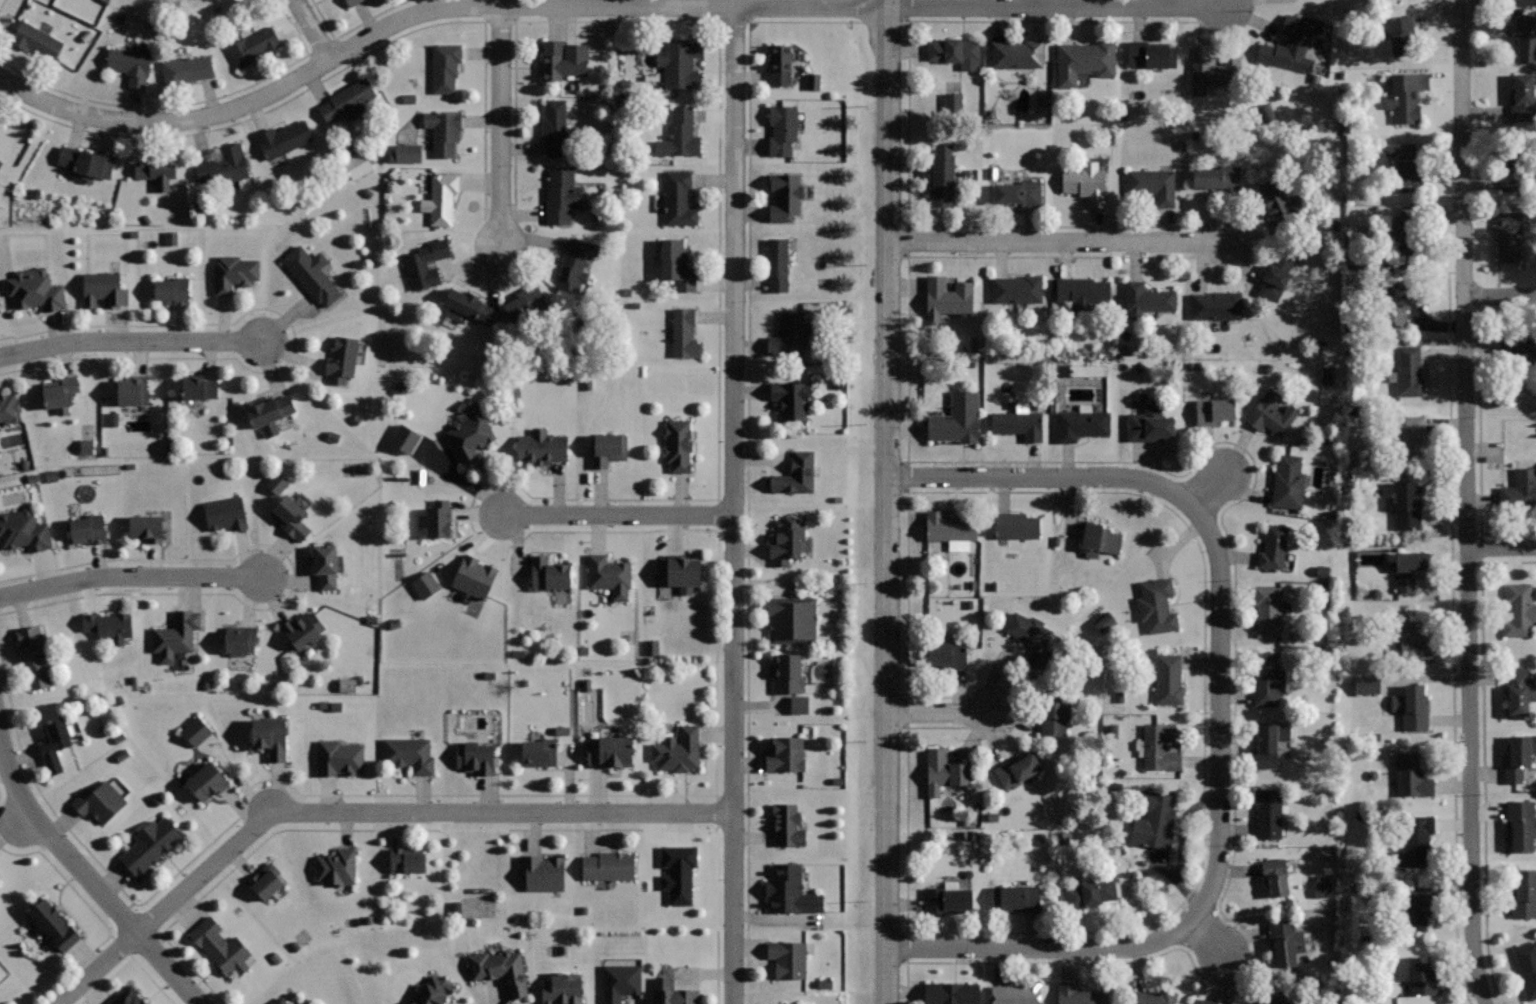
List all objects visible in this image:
building: (351, 2)
road: (1, 3)
road: (594, 6)
road: (313, 29)
road: (350, 29)
building: (1400, 34)
building: (1526, 37)
building: (37, 40)
building: (1292, 45)
building: (254, 46)
building: (957, 51)
building: (1017, 53)
building: (1151, 54)
building: (562, 58)
building: (680, 60)
building: (1084, 60)
building: (130, 64)
building: (780, 64)
building: (446, 66)
building: (187, 69)
building: (1216, 70)
road: (338, 71)
building: (1406, 95)
building: (1523, 97)
building: (348, 99)
road: (185, 104)
building: (950, 105)
road: (502, 122)
road: (907, 126)
building: (555, 127)
building: (782, 130)
building: (443, 131)
building: (680, 136)
building: (284, 139)
building: (405, 153)
building: (87, 163)
building: (225, 165)
building: (354, 166)
building: (1402, 167)
building: (157, 170)
building: (942, 176)
building: (1218, 177)
building: (1515, 179)
building: (1086, 182)
building: (1154, 184)
building: (1019, 192)
building: (786, 194)
building: (561, 195)
building: (440, 198)
building: (679, 198)
building: (1276, 204)
building: (1423, 228)
building: (1509, 235)
building: (170, 238)
road: (1055, 242)
building: (777, 262)
building: (426, 263)
building: (575, 264)
building: (677, 264)
building: (233, 273)
building: (312, 274)
building: (1277, 274)
building: (1017, 288)
building: (35, 289)
building: (104, 289)
building: (174, 290)
building: (1084, 293)
road: (1500, 297)
building: (946, 298)
building: (1148, 299)
building: (526, 303)
building: (1216, 305)
building: (468, 306)
building: (1394, 306)
building: (684, 333)
building: (789, 338)
road: (130, 341)
road: (293, 341)
building: (1516, 346)
building: (342, 359)
building: (1406, 370)
building: (1325, 375)
building: (199, 386)
building: (133, 390)
building: (60, 393)
building: (792, 399)
building: (9, 408)
building: (1215, 410)
building: (269, 412)
building: (1271, 413)
building: (956, 418)
building: (111, 419)
road: (1479, 420)
building: (1149, 423)
building: (1018, 424)
building: (1081, 424)
building: (470, 433)
building: (1407, 435)
building: (401, 438)
building: (678, 443)
building: (84, 446)
building: (541, 447)
building: (608, 449)
road: (747, 456)
road: (717, 463)
building: (795, 474)
road: (1019, 476)
building: (1288, 482)
building: (1519, 489)
road: (1207, 491)
road: (1239, 500)
road: (884, 502)
road: (1467, 502)
road: (734, 505)
building: (1405, 506)
building: (225, 514)
road: (619, 514)
building: (291, 517)
building: (438, 518)
building: (1016, 525)
building: (948, 526)
building: (147, 527)
building: (88, 529)
building: (24, 531)
building: (1100, 538)
building: (788, 539)
building: (1273, 548)
road: (1502, 548)
building: (325, 565)
building: (1408, 570)
building: (681, 571)
building: (548, 573)
building: (611, 574)
road: (130, 577)
road: (292, 577)
building: (475, 577)
building: (422, 584)
building: (1157, 604)
building: (1266, 608)
building: (1520, 609)
building: (792, 619)
building: (109, 624)
building: (1102, 624)
building: (303, 629)
building: (176, 634)
road: (1451, 638)
building: (240, 639)
building: (1031, 640)
building: (1413, 642)
building: (649, 647)
building: (946, 653)
building: (34, 656)
road: (1220, 666)
building: (785, 672)
building: (1168, 678)
building: (1268, 678)
building: (1363, 684)
building: (1518, 691)
building: (795, 705)
building: (1411, 707)
road: (937, 712)
building: (1052, 713)
road: (1202, 713)
building: (193, 732)
building: (270, 737)
building: (55, 744)
building: (1160, 745)
building: (1270, 745)
building: (677, 749)
building: (609, 750)
building: (539, 752)
building: (785, 753)
building: (409, 754)
road: (1482, 756)
building: (1519, 756)
building: (339, 757)
building: (476, 757)
building: (1017, 769)
building: (944, 771)
building: (1412, 775)
building: (206, 781)
road: (253, 784)
building: (99, 801)
building: (1268, 811)
road: (359, 812)
building: (1156, 820)
building: (787, 823)
building: (1521, 826)
road: (459, 829)
building: (1414, 841)
building: (150, 845)
building: (407, 859)
building: (608, 865)
building: (337, 866)
building: (543, 871)
building: (676, 873)
building: (1275, 877)
road: (88, 879)
building: (266, 880)
building: (1319, 886)
building: (790, 889)
building: (1090, 892)
building: (1523, 893)
building: (949, 899)
building: (1017, 899)
building: (1418, 907)
road: (95, 915)
building: (54, 924)
road: (1206, 935)
building: (1286, 941)
building: (220, 947)
road: (1063, 948)
building: (788, 958)
road: (128, 960)
building: (1527, 966)
building: (501, 970)
building: (1421, 974)
building: (620, 982)
building: (560, 990)
building: (434, 991)
building: (674, 993)
building: (951, 993)
building: (1016, 993)
building: (1079, 994)
building: (129, 996)
building: (1148, 996)
building: (1276, 999)
building: (1204, 1000)
building: (280, 1001)
building: (794, 1003)

